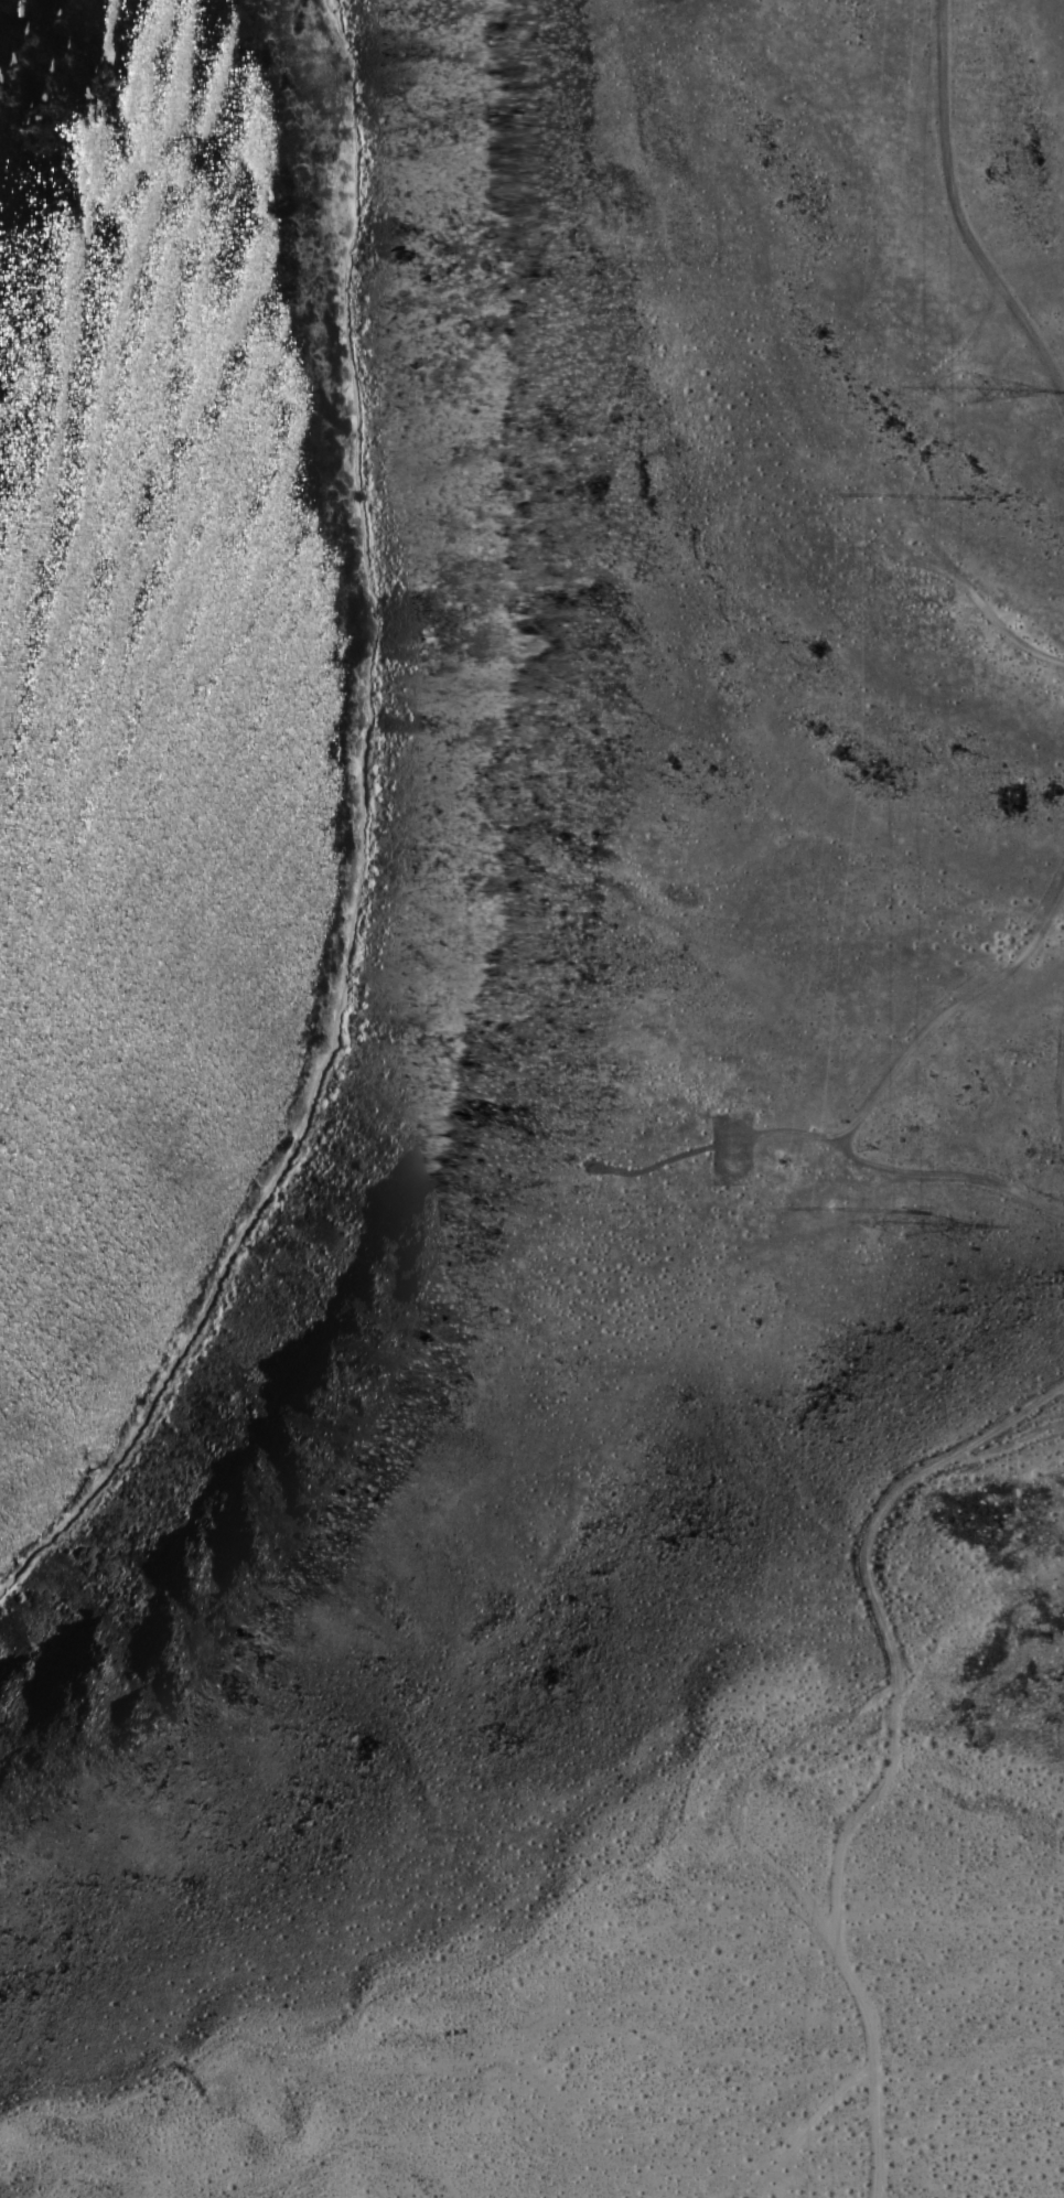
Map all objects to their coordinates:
road: (968, 214)
power tower: (954, 387)
power tower: (882, 495)
road: (1061, 1080)
road: (877, 1089)
road: (784, 1130)
power tower: (835, 1201)
power tower: (901, 1229)
road: (886, 1744)
power tower: (761, 2197)

